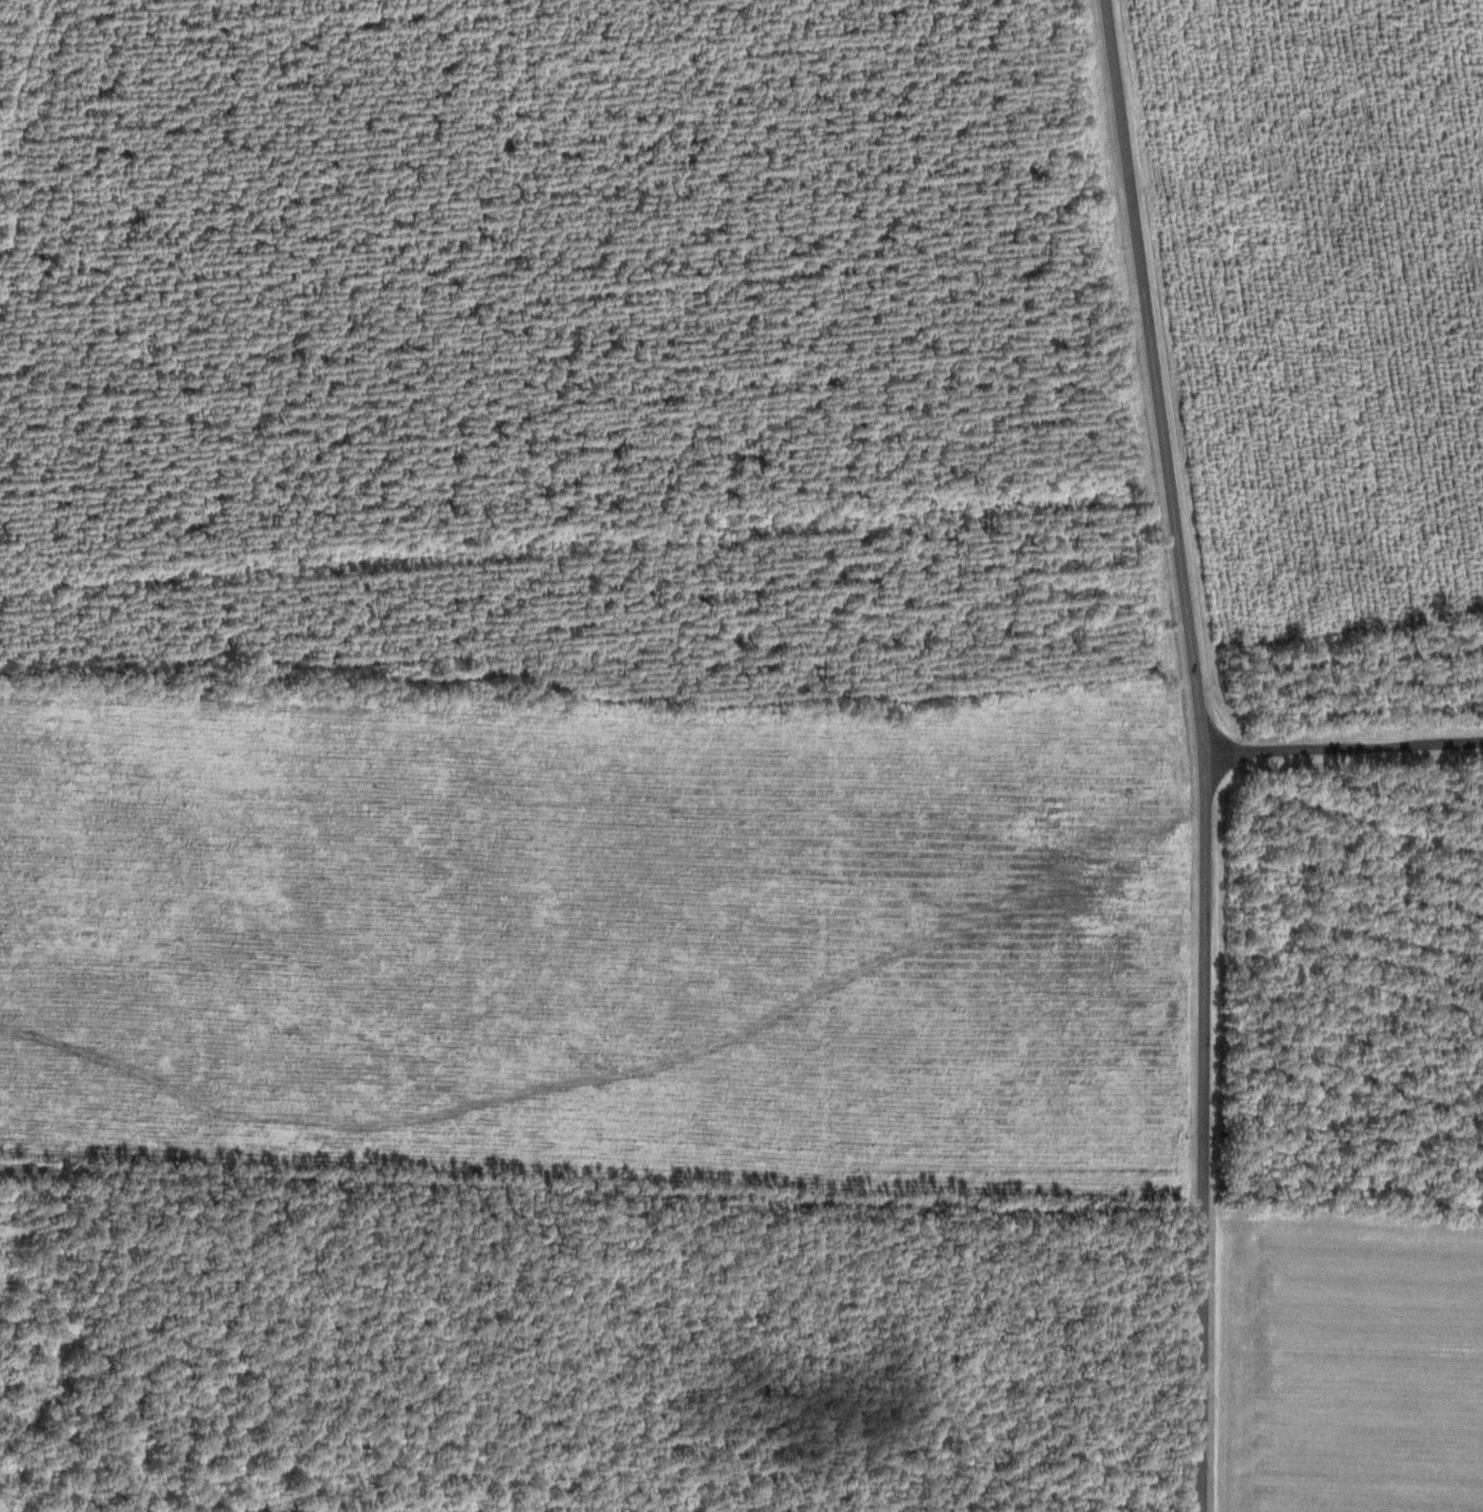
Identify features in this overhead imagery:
road: (1343, 743)
road: (1204, 752)

